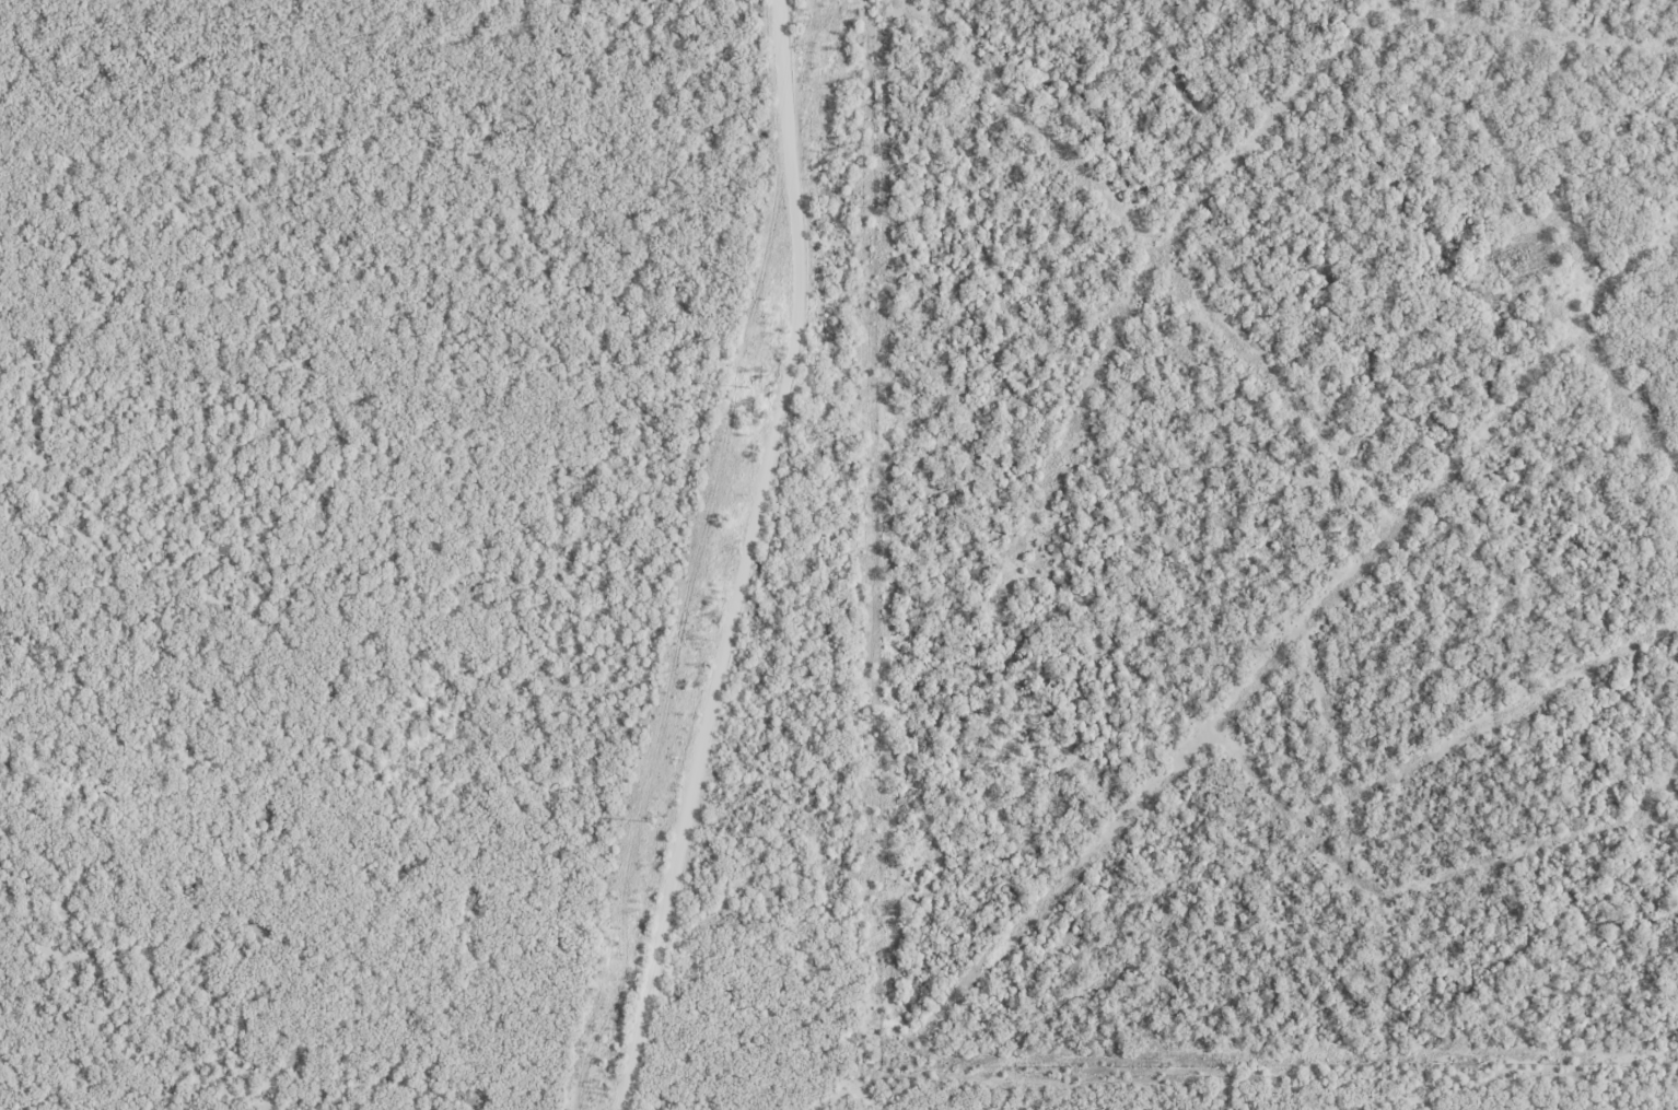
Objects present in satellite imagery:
power tower: (747, 386)
road: (747, 558)
power tower: (646, 820)

